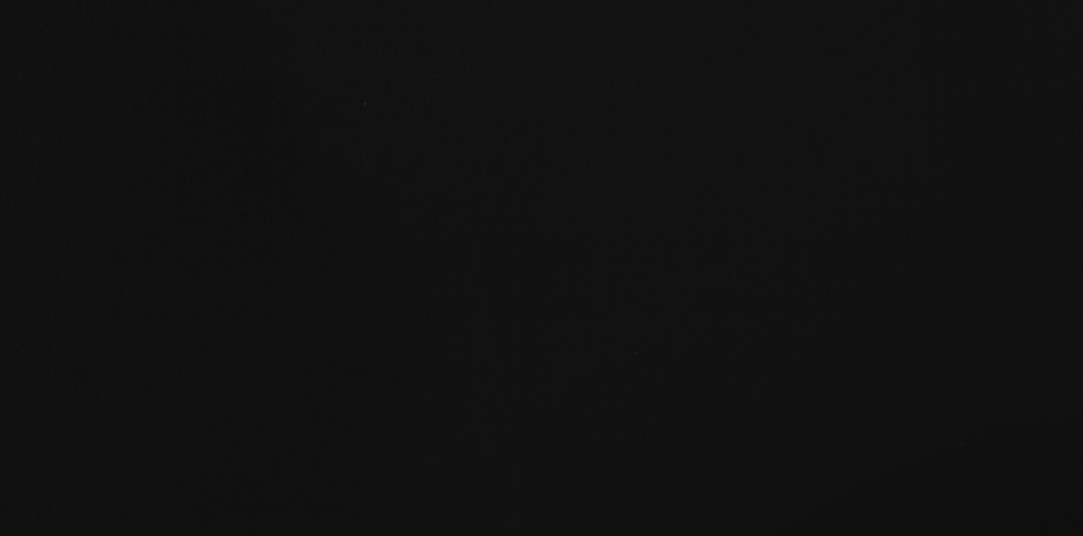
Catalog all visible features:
river: (733, 184)

